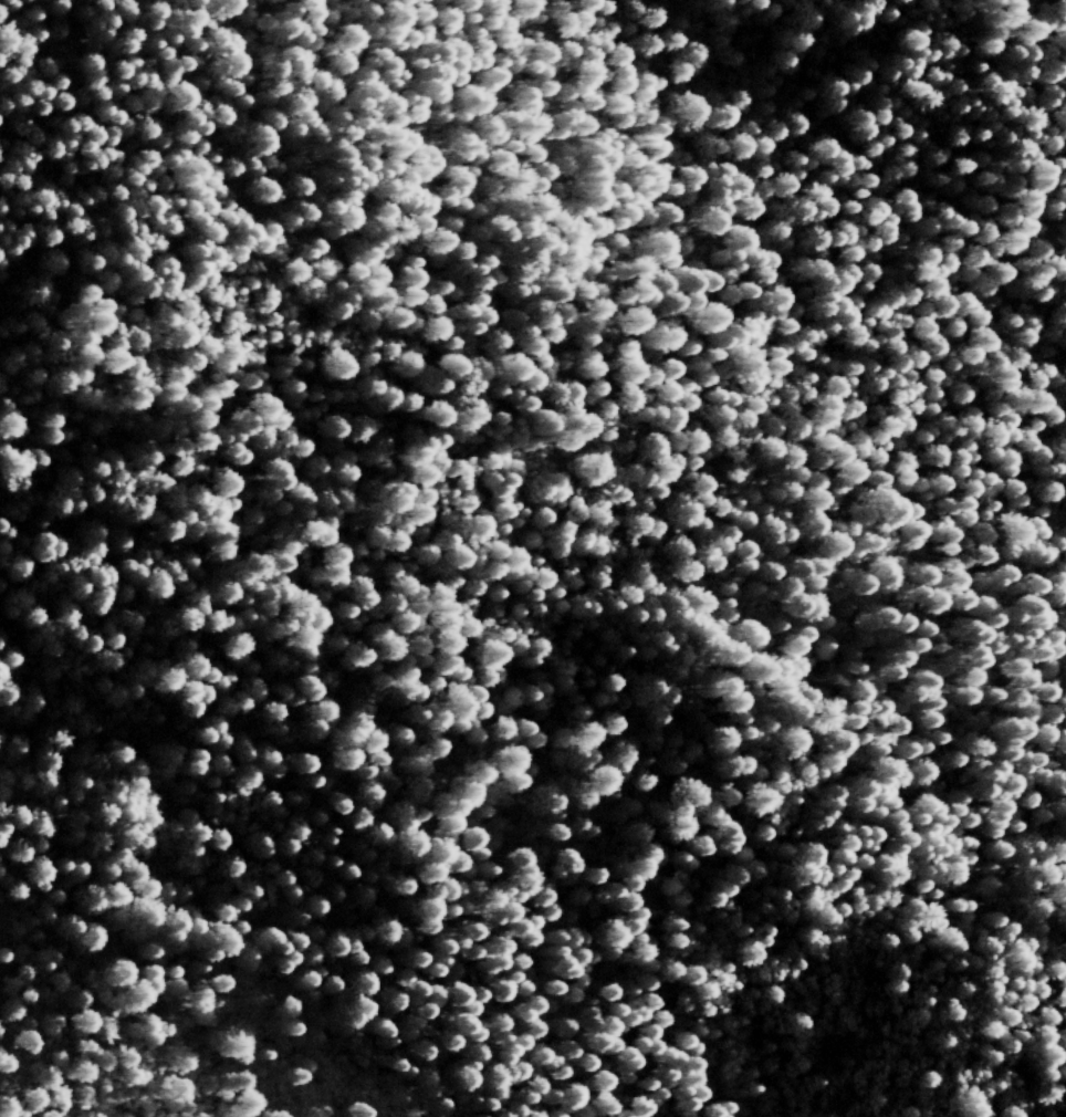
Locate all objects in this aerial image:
road: (868, 627)

